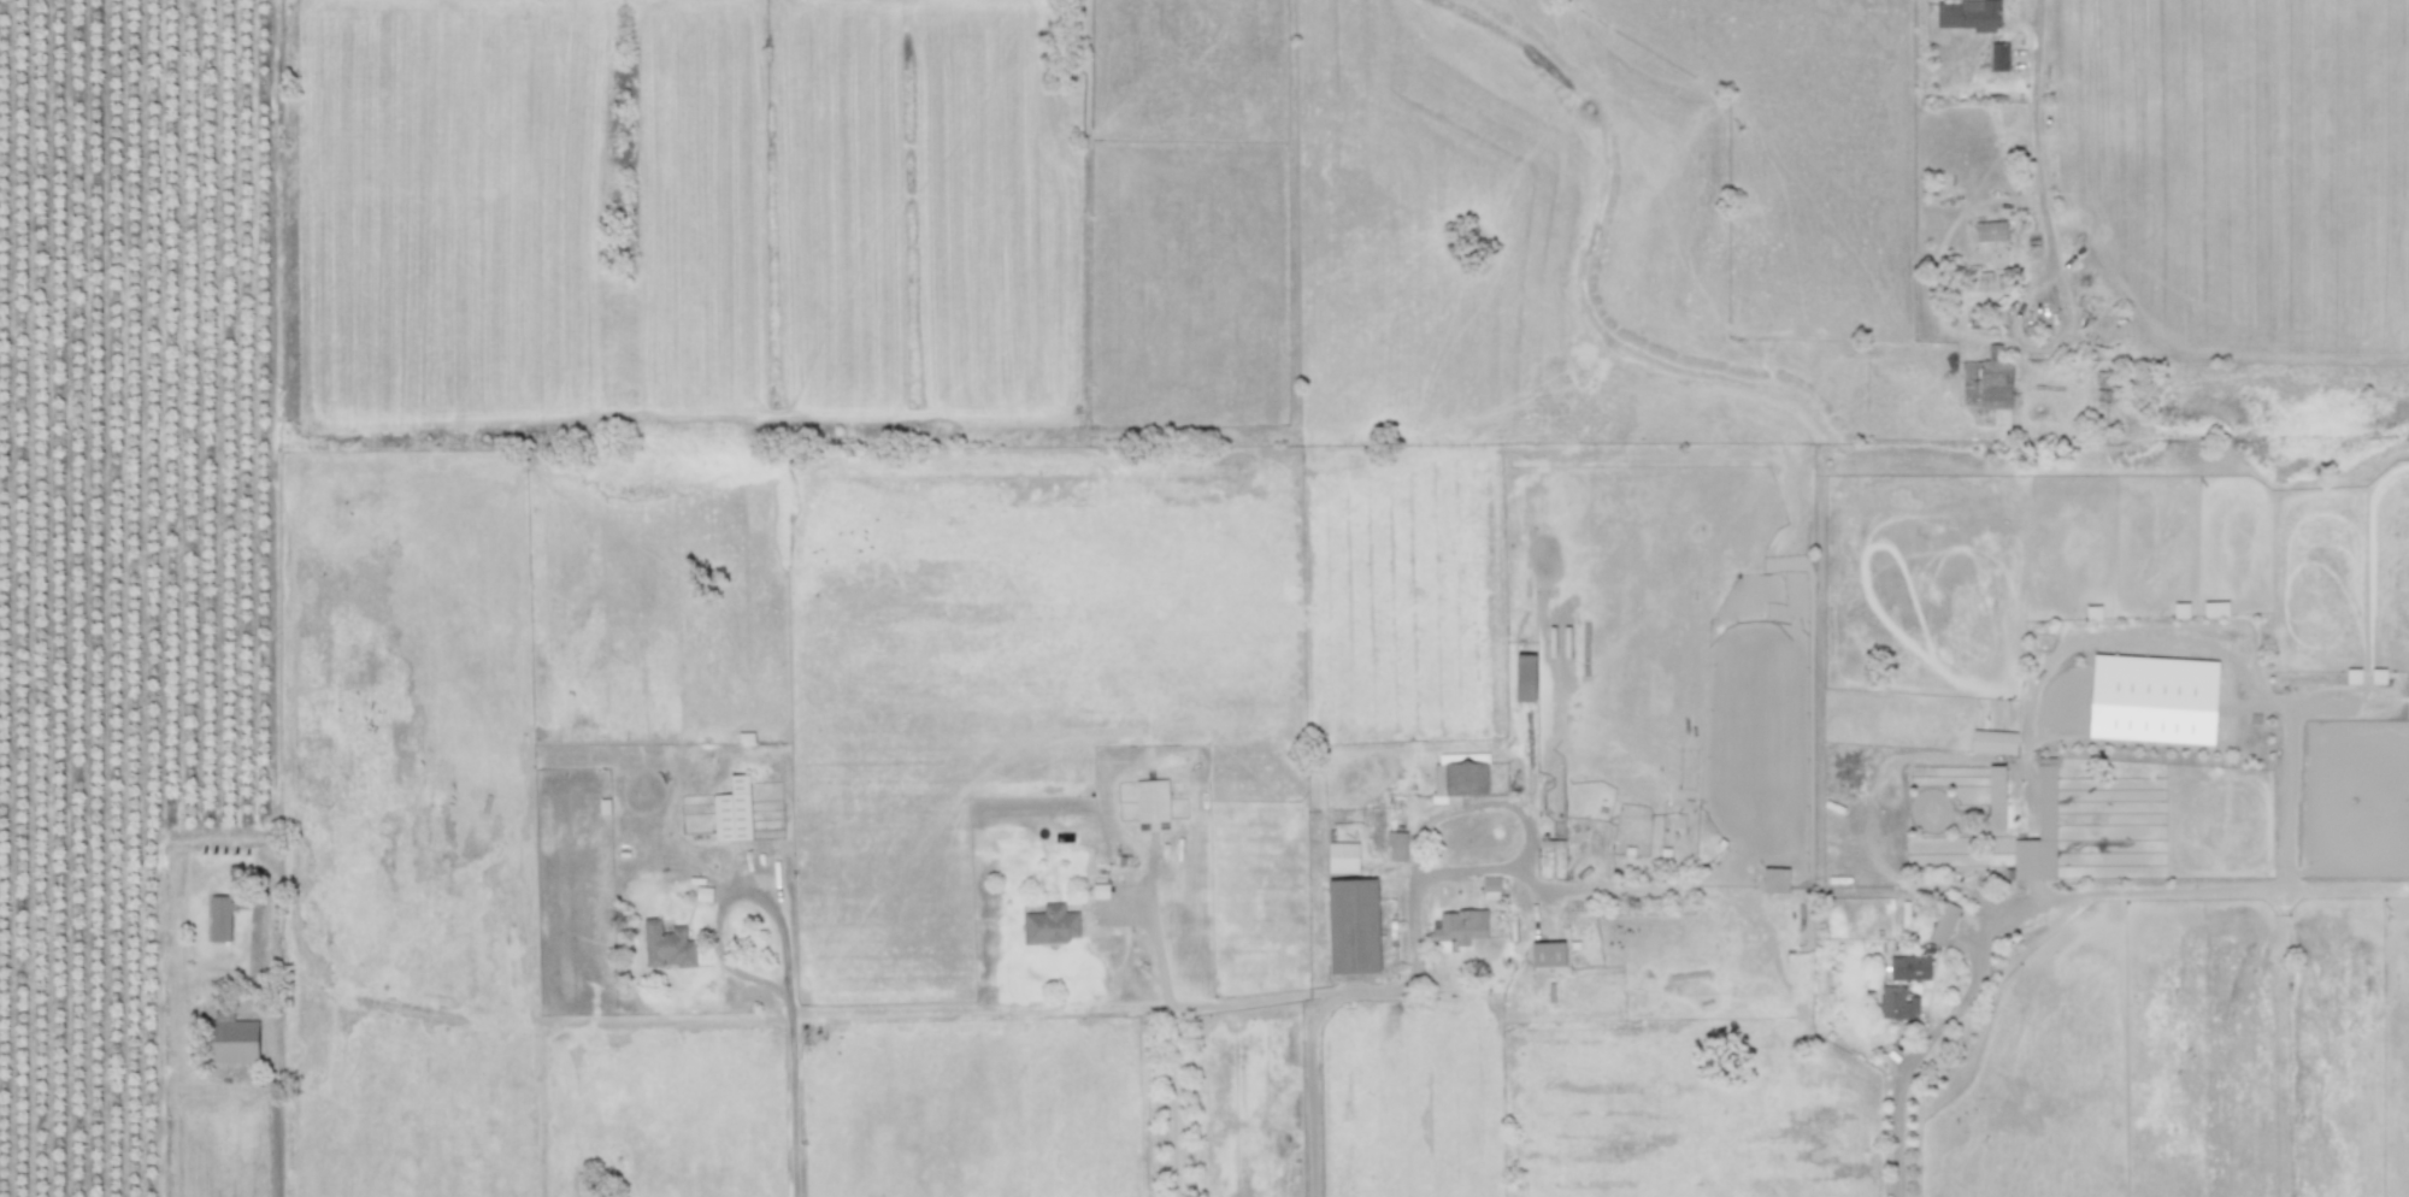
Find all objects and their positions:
building: (1967, 13)
building: (1998, 54)
road: (2034, 131)
building: (1990, 230)
building: (1986, 379)
crop: (1204, 598)
building: (2215, 608)
building: (1524, 676)
building: (1993, 741)
building: (1461, 773)
building: (1995, 796)
building: (1152, 800)
building: (732, 810)
building: (2038, 835)
building: (1396, 844)
building: (1342, 856)
building: (1551, 857)
building: (1774, 879)
building: (1490, 886)
road: (726, 894)
building: (219, 916)
building: (1943, 922)
building: (1049, 924)
building: (1351, 925)
building: (1459, 925)
building: (666, 944)
building: (1548, 953)
building: (1909, 967)
building: (1896, 1002)
road: (1939, 1031)
building: (232, 1039)
road: (1171, 1049)
road: (269, 1050)
road: (1312, 1071)
road: (790, 1095)

